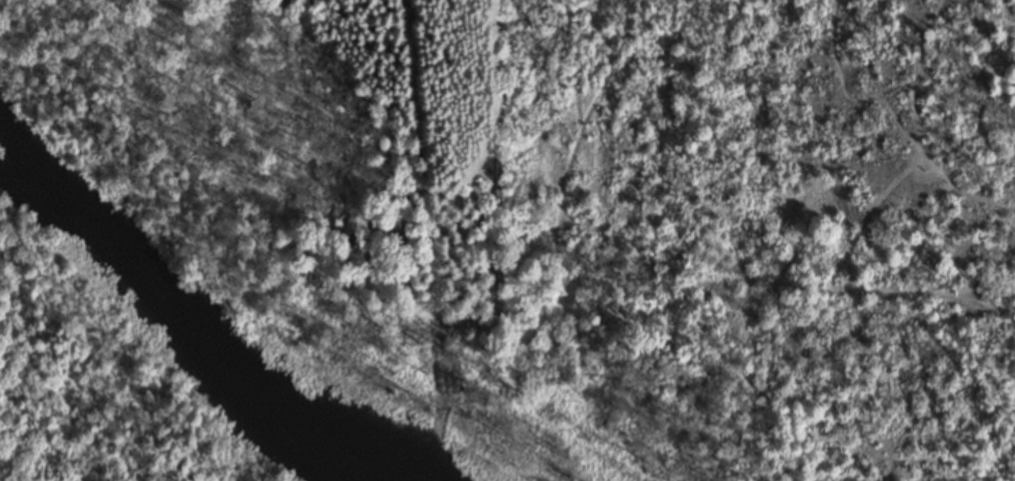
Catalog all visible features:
river: (179, 311)

